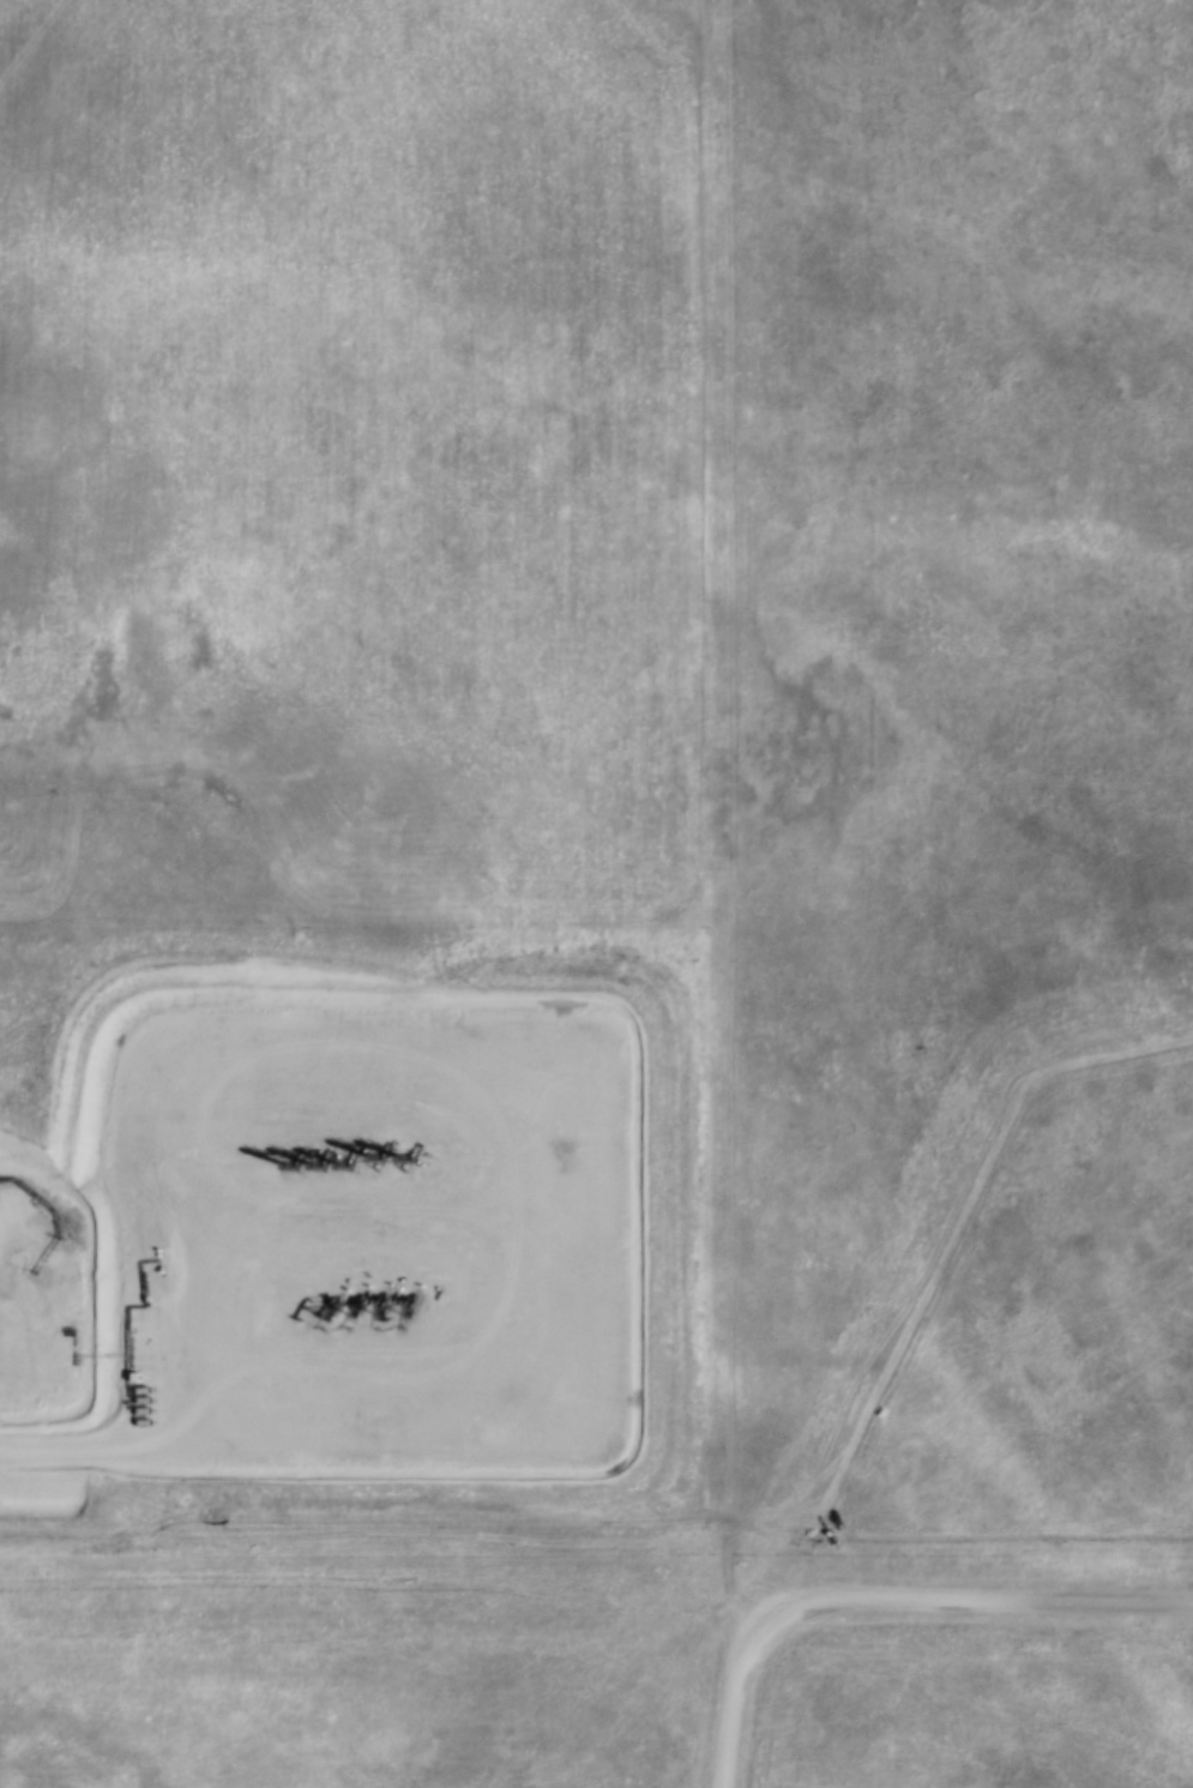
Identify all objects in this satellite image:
road: (246, 1443)
road: (869, 1575)

